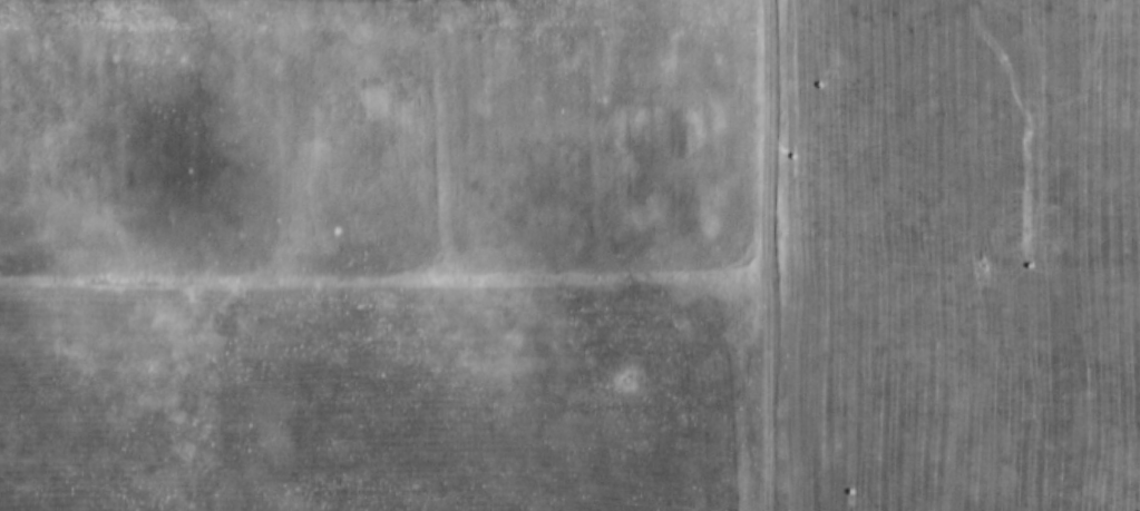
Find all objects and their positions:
road: (769, 255)

